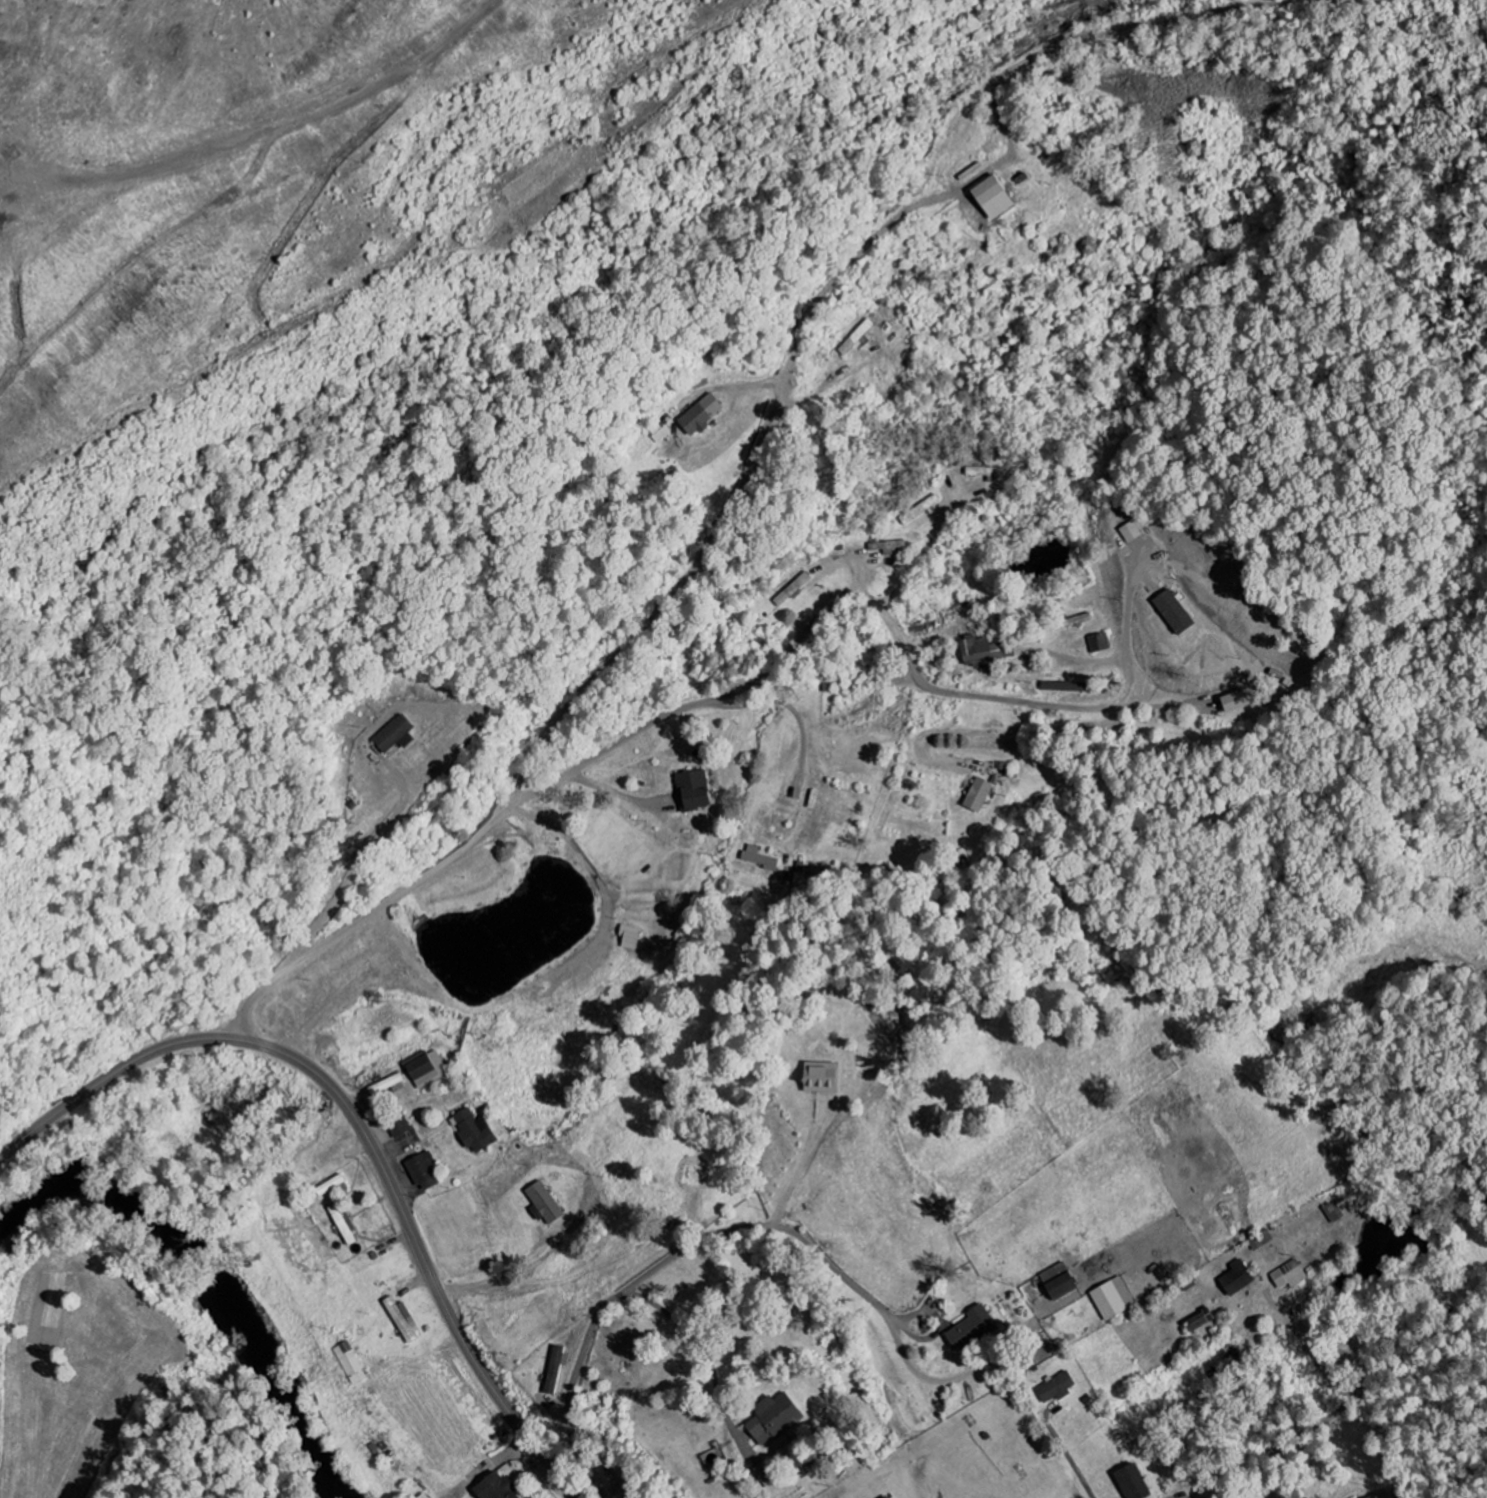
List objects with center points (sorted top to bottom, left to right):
quarry: (551, 153)
building: (993, 199)
building: (857, 338)
building: (701, 415)
building: (988, 472)
building: (1132, 531)
building: (888, 546)
building: (793, 589)
building: (1175, 611)
building: (1100, 642)
building: (980, 650)
building: (1066, 687)
building: (1237, 701)
road: (666, 715)
building: (395, 734)
building: (694, 790)
building: (979, 795)
building: (760, 858)
building: (630, 937)
building: (427, 1069)
building: (821, 1077)
building: (399, 1126)
road: (361, 1127)
building: (475, 1131)
building: (424, 1171)
building: (331, 1185)
building: (544, 1204)
building: (344, 1224)
road: (667, 1261)
building: (1291, 1275)
building: (1238, 1278)
building: (1059, 1281)
road: (542, 1283)
building: (1113, 1299)
building: (403, 1320)
building: (1200, 1320)
building: (972, 1330)
road: (1313, 1337)
building: (555, 1370)
building: (1056, 1388)
building: (774, 1419)
road: (1292, 1446)
building: (1133, 1482)
building: (496, 1487)
building: (425, 1496)
building: (886, 1497)
building: (1383, 1497)

